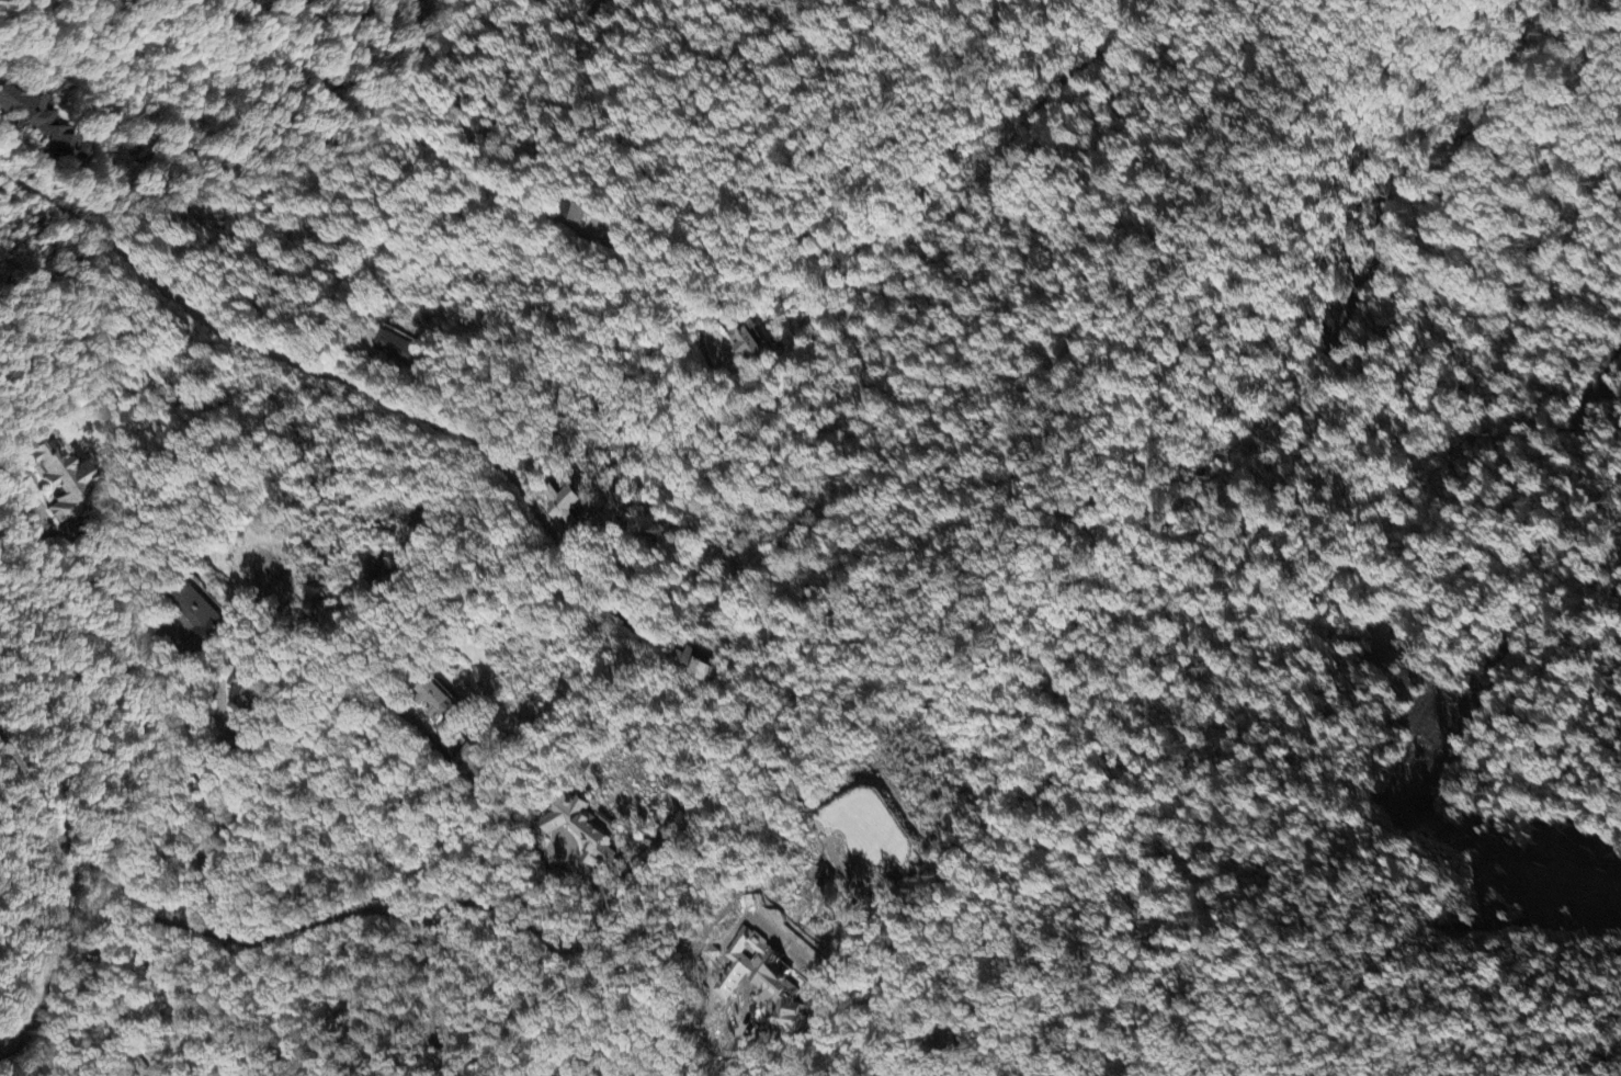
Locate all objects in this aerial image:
park: (1392, 39)
building: (44, 134)
road: (431, 152)
building: (578, 214)
building: (750, 346)
building: (396, 350)
road: (353, 387)
building: (56, 483)
building: (564, 508)
building: (197, 618)
building: (695, 667)
building: (438, 705)
park: (1394, 834)
road: (58, 895)
road: (111, 898)
building: (772, 987)

